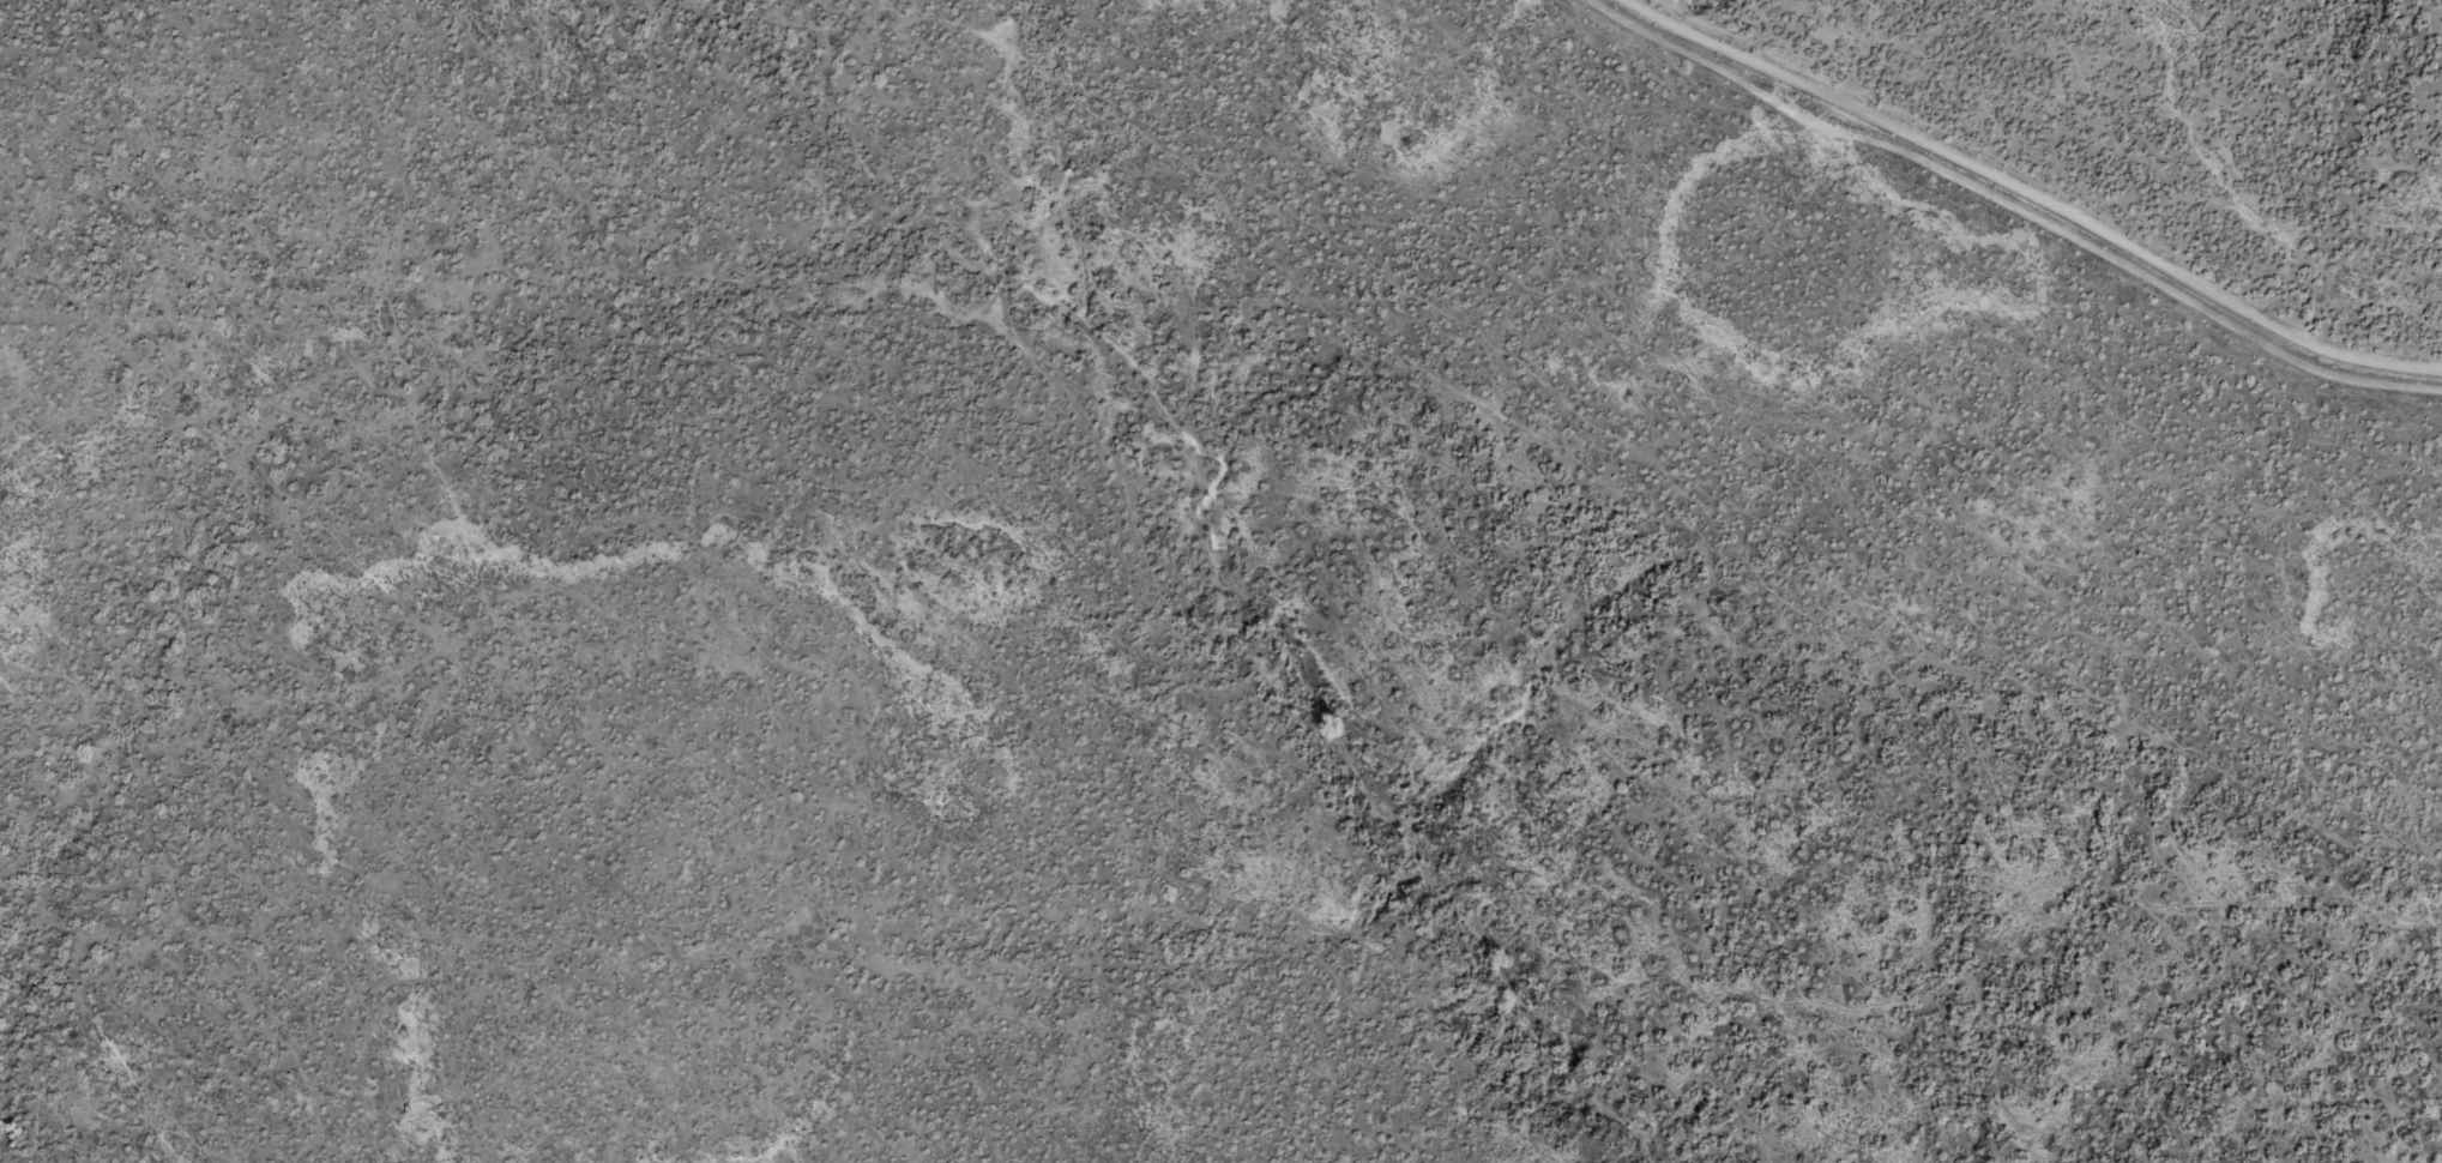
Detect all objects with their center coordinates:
road: (2040, 195)

